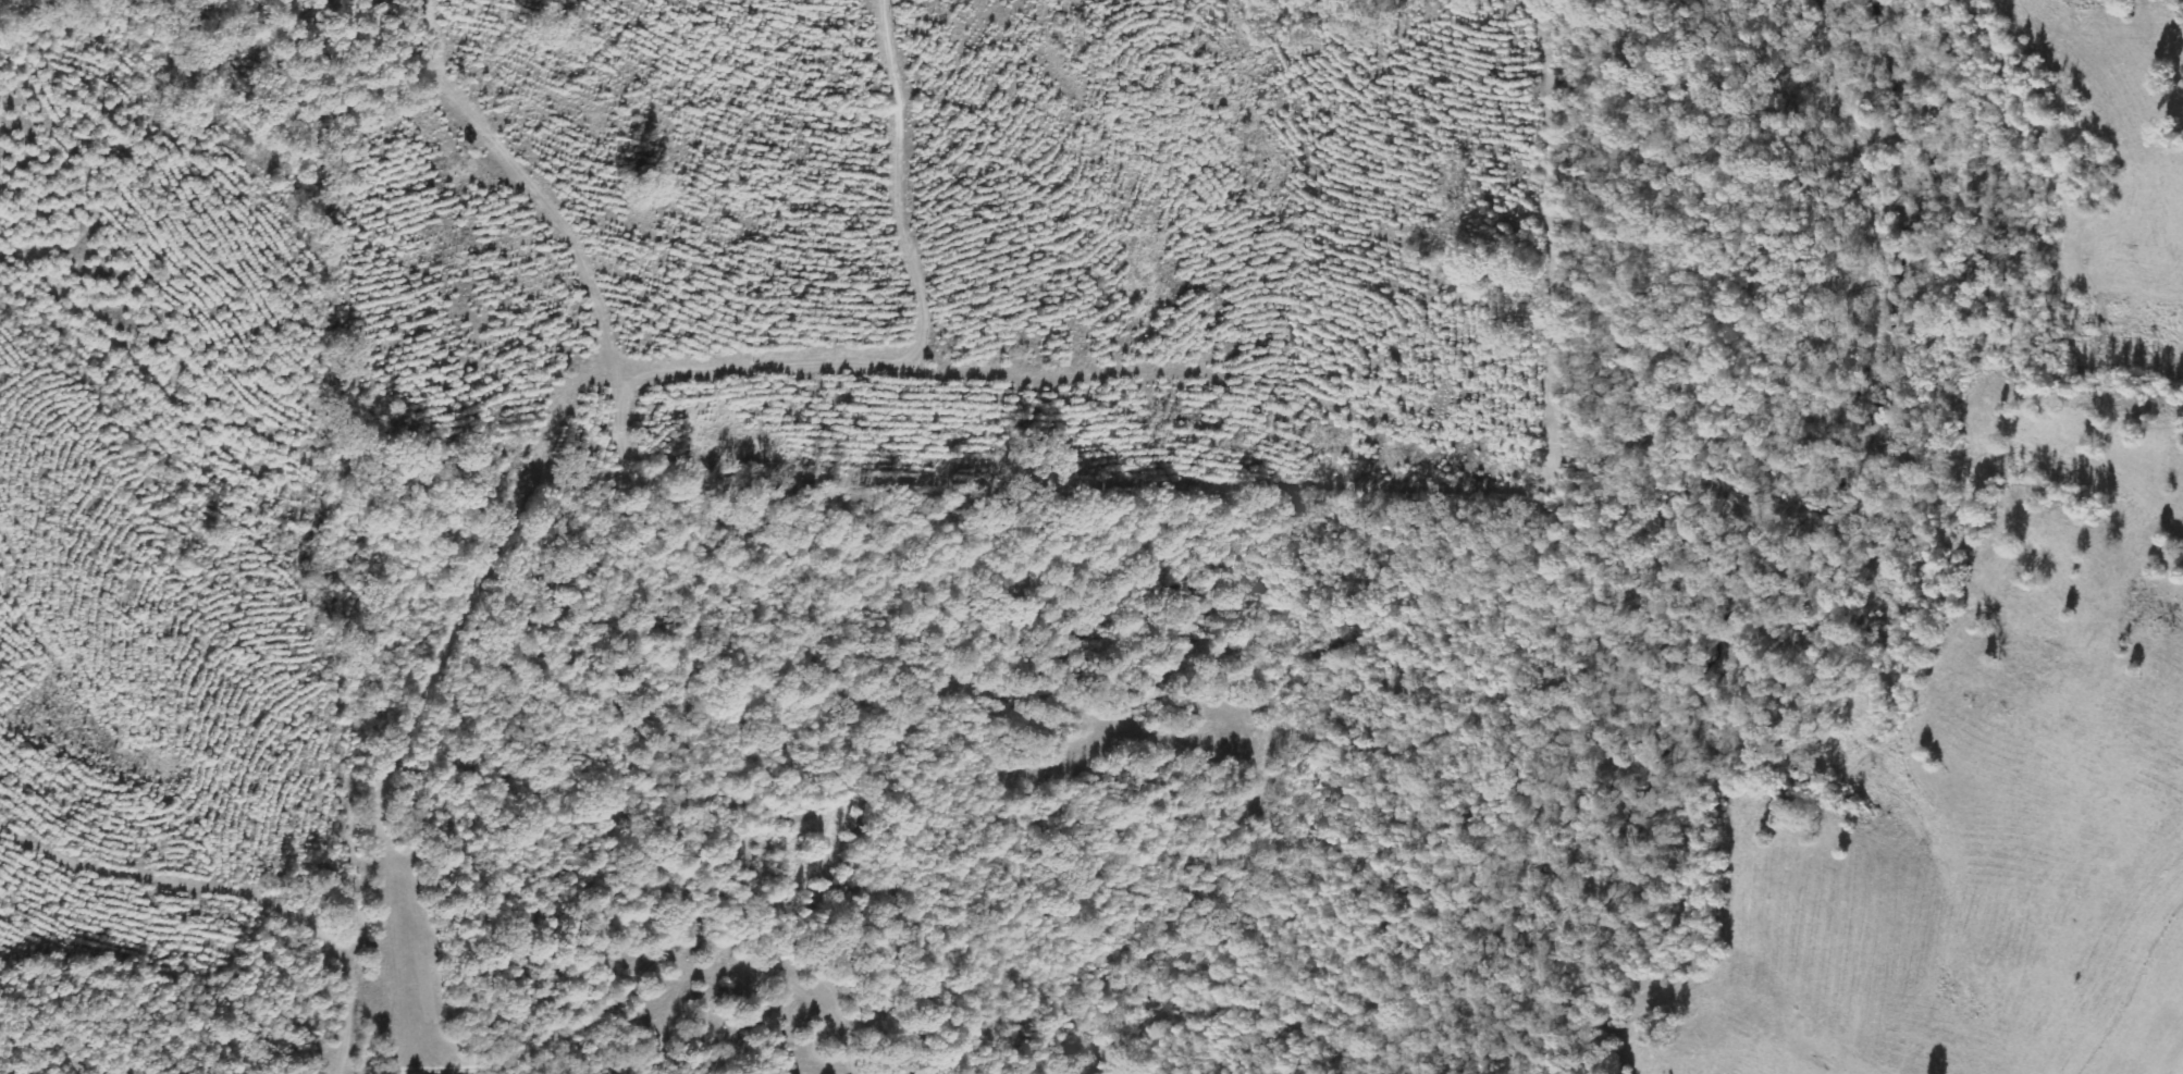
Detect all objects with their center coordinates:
road: (804, 372)
road: (691, 585)

